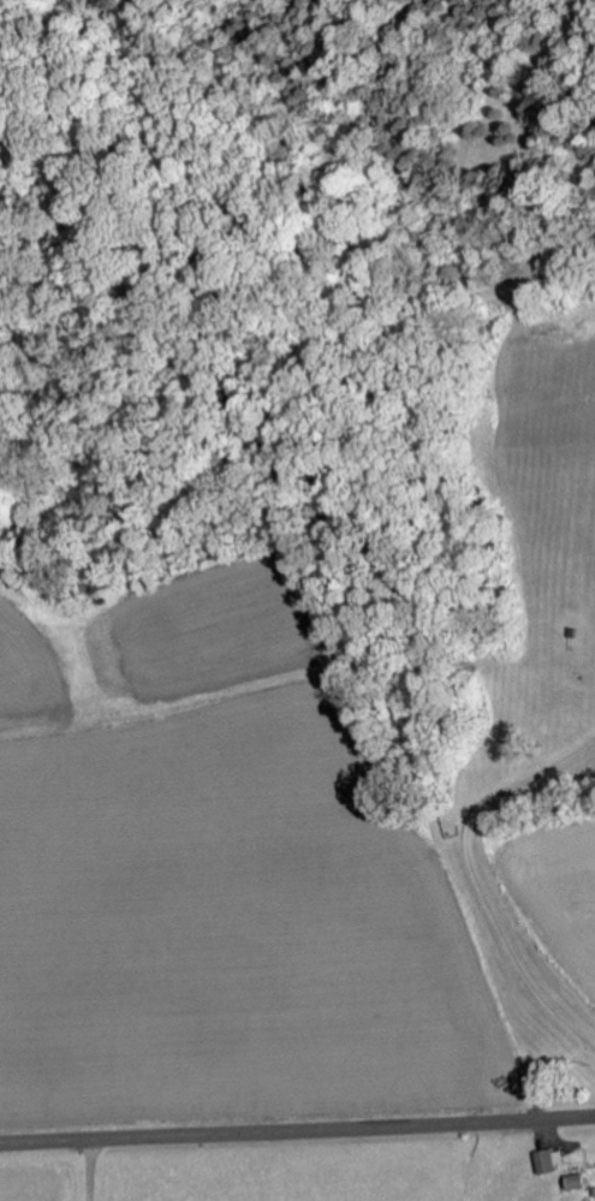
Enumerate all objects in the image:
road: (297, 1130)
building: (541, 1161)
road: (88, 1170)
building: (571, 1182)

